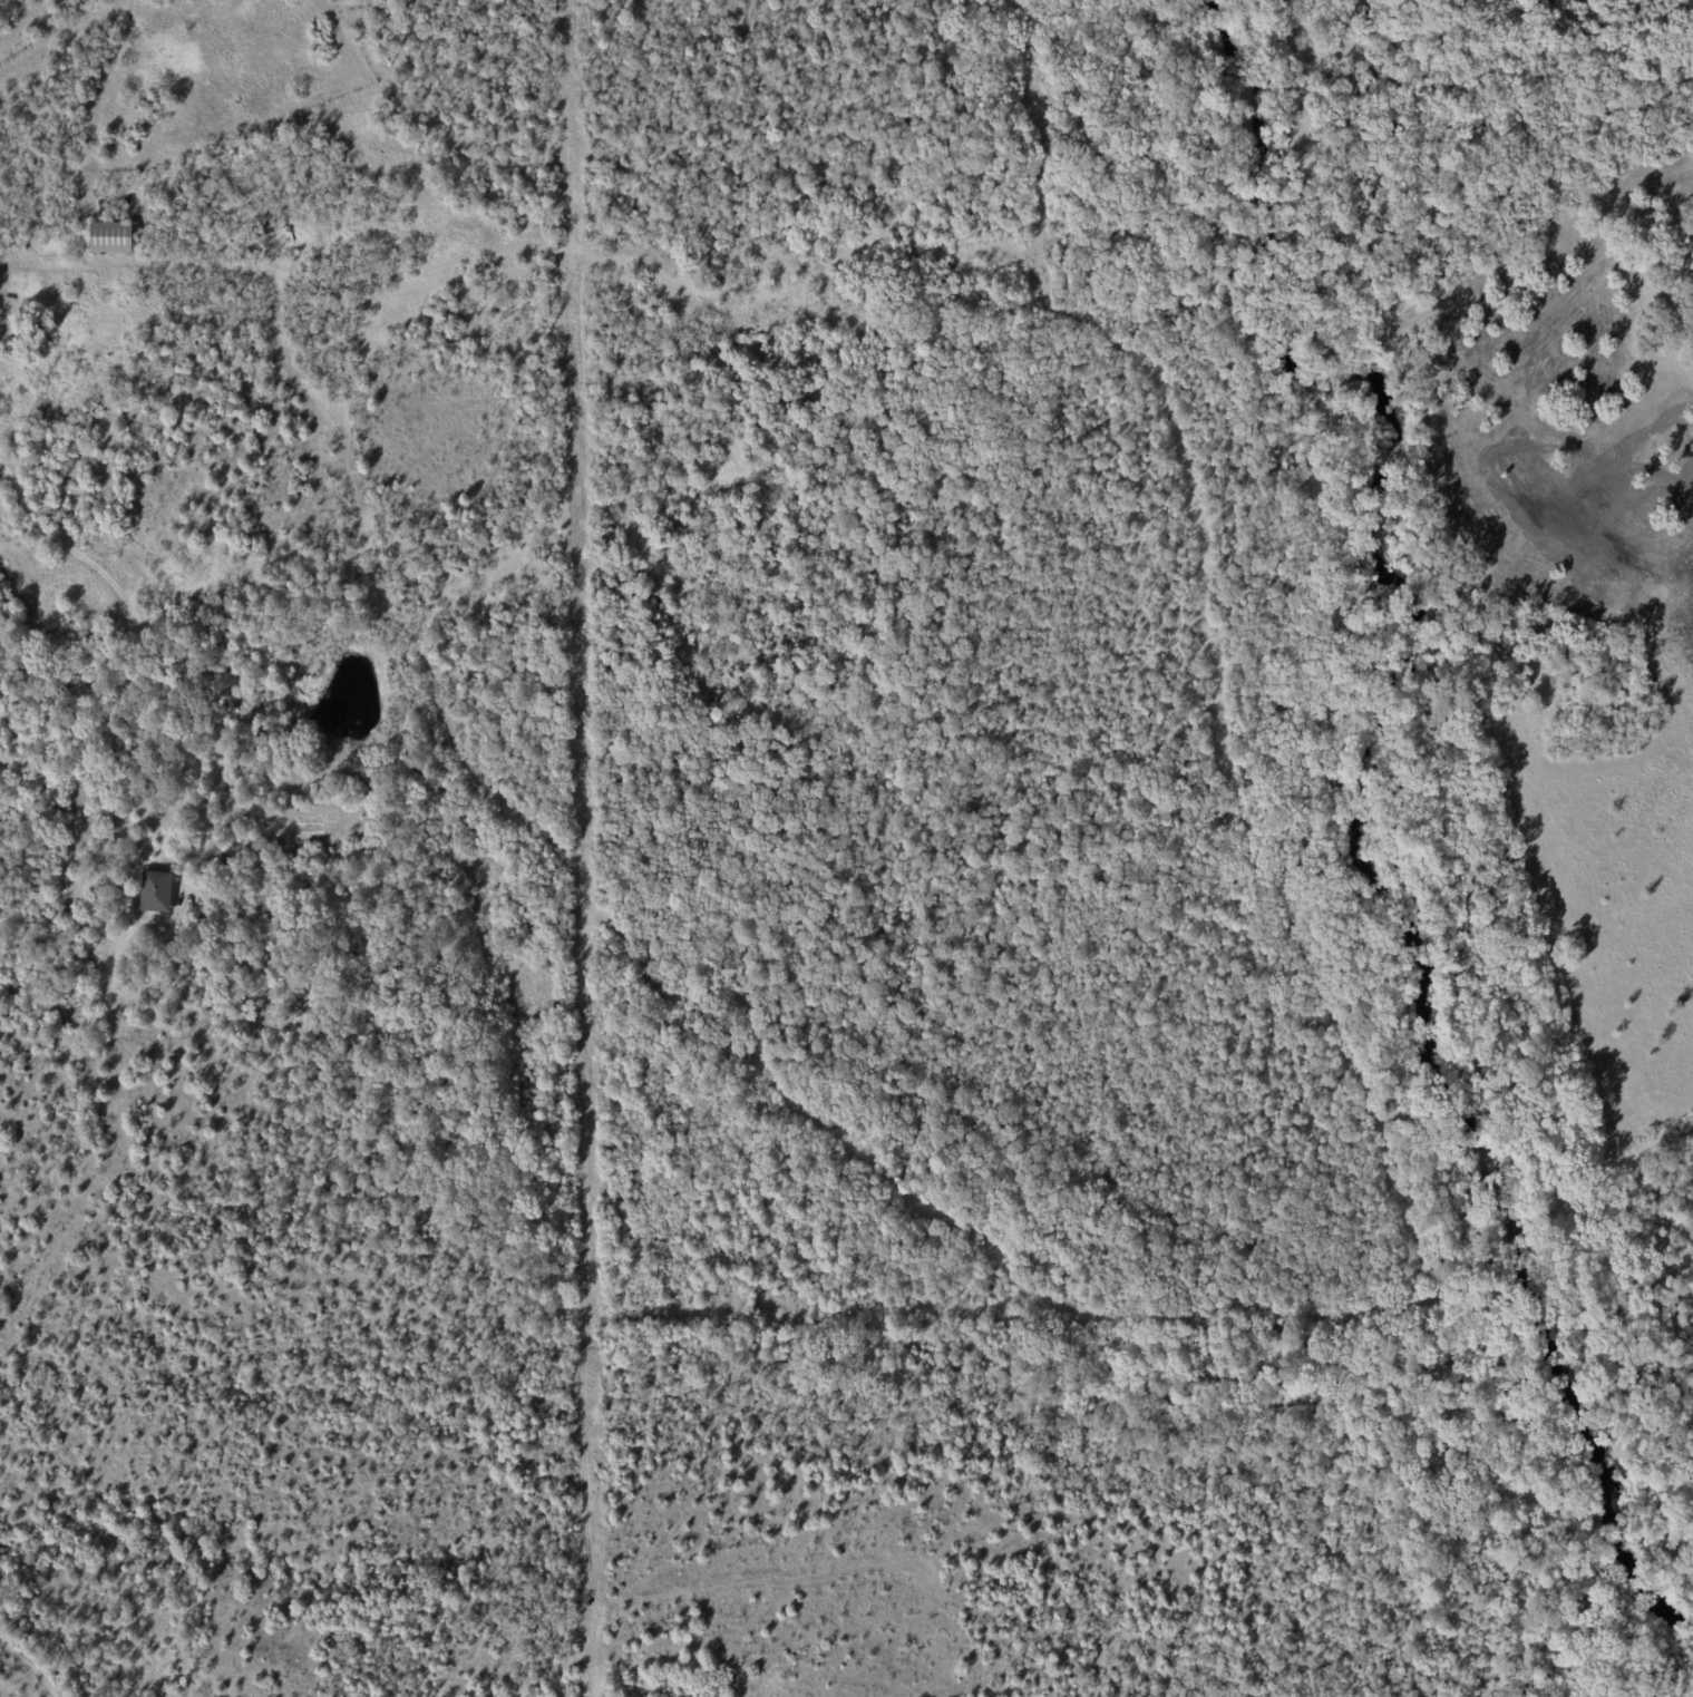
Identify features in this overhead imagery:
building: (113, 237)
road: (135, 615)
building: (157, 891)

